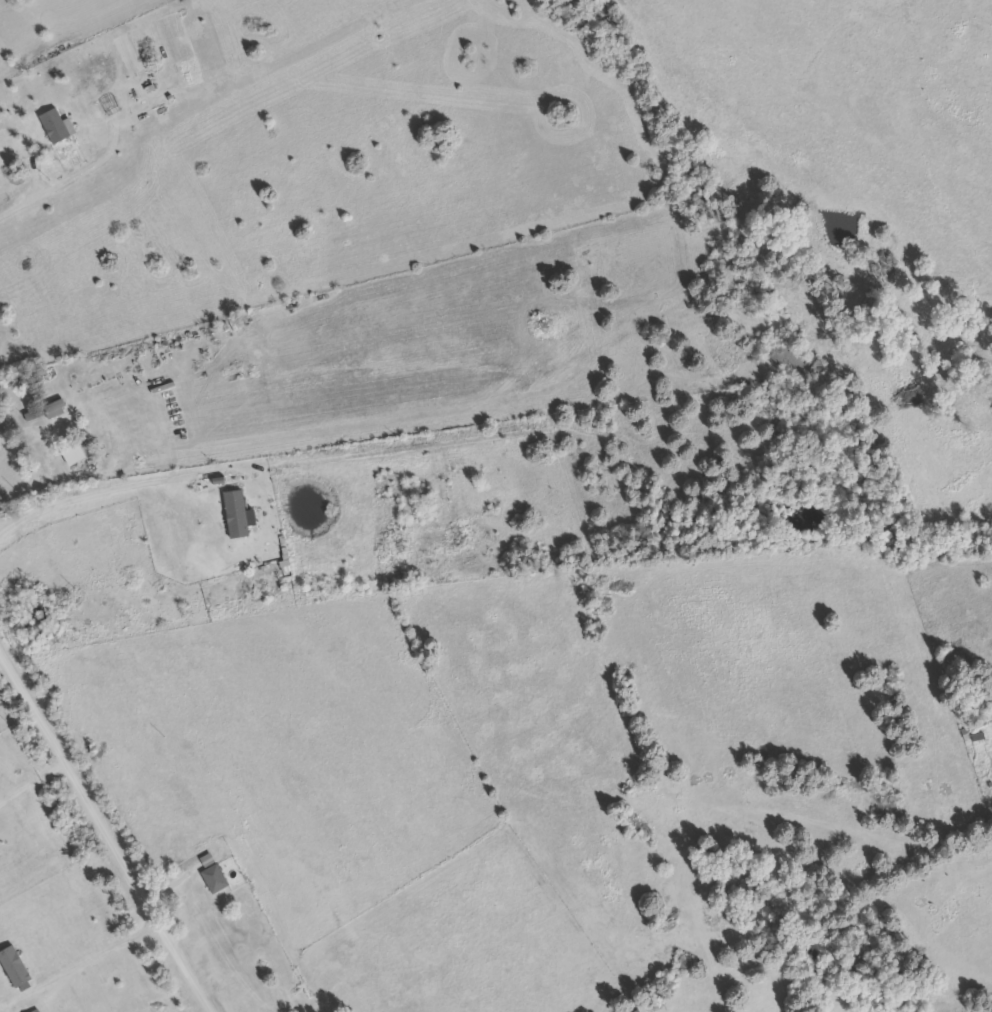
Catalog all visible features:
building: (58, 126)
building: (782, 353)
building: (31, 378)
building: (49, 411)
road: (364, 429)
building: (76, 453)
building: (238, 514)
road: (104, 831)
building: (215, 873)
building: (16, 967)
building: (40, 1011)

